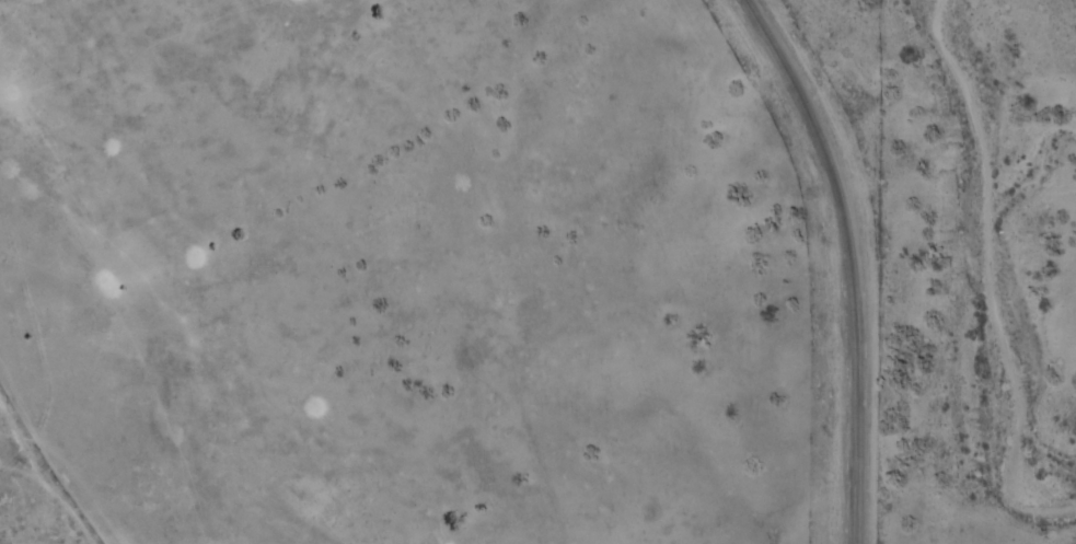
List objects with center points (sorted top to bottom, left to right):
road: (851, 259)

